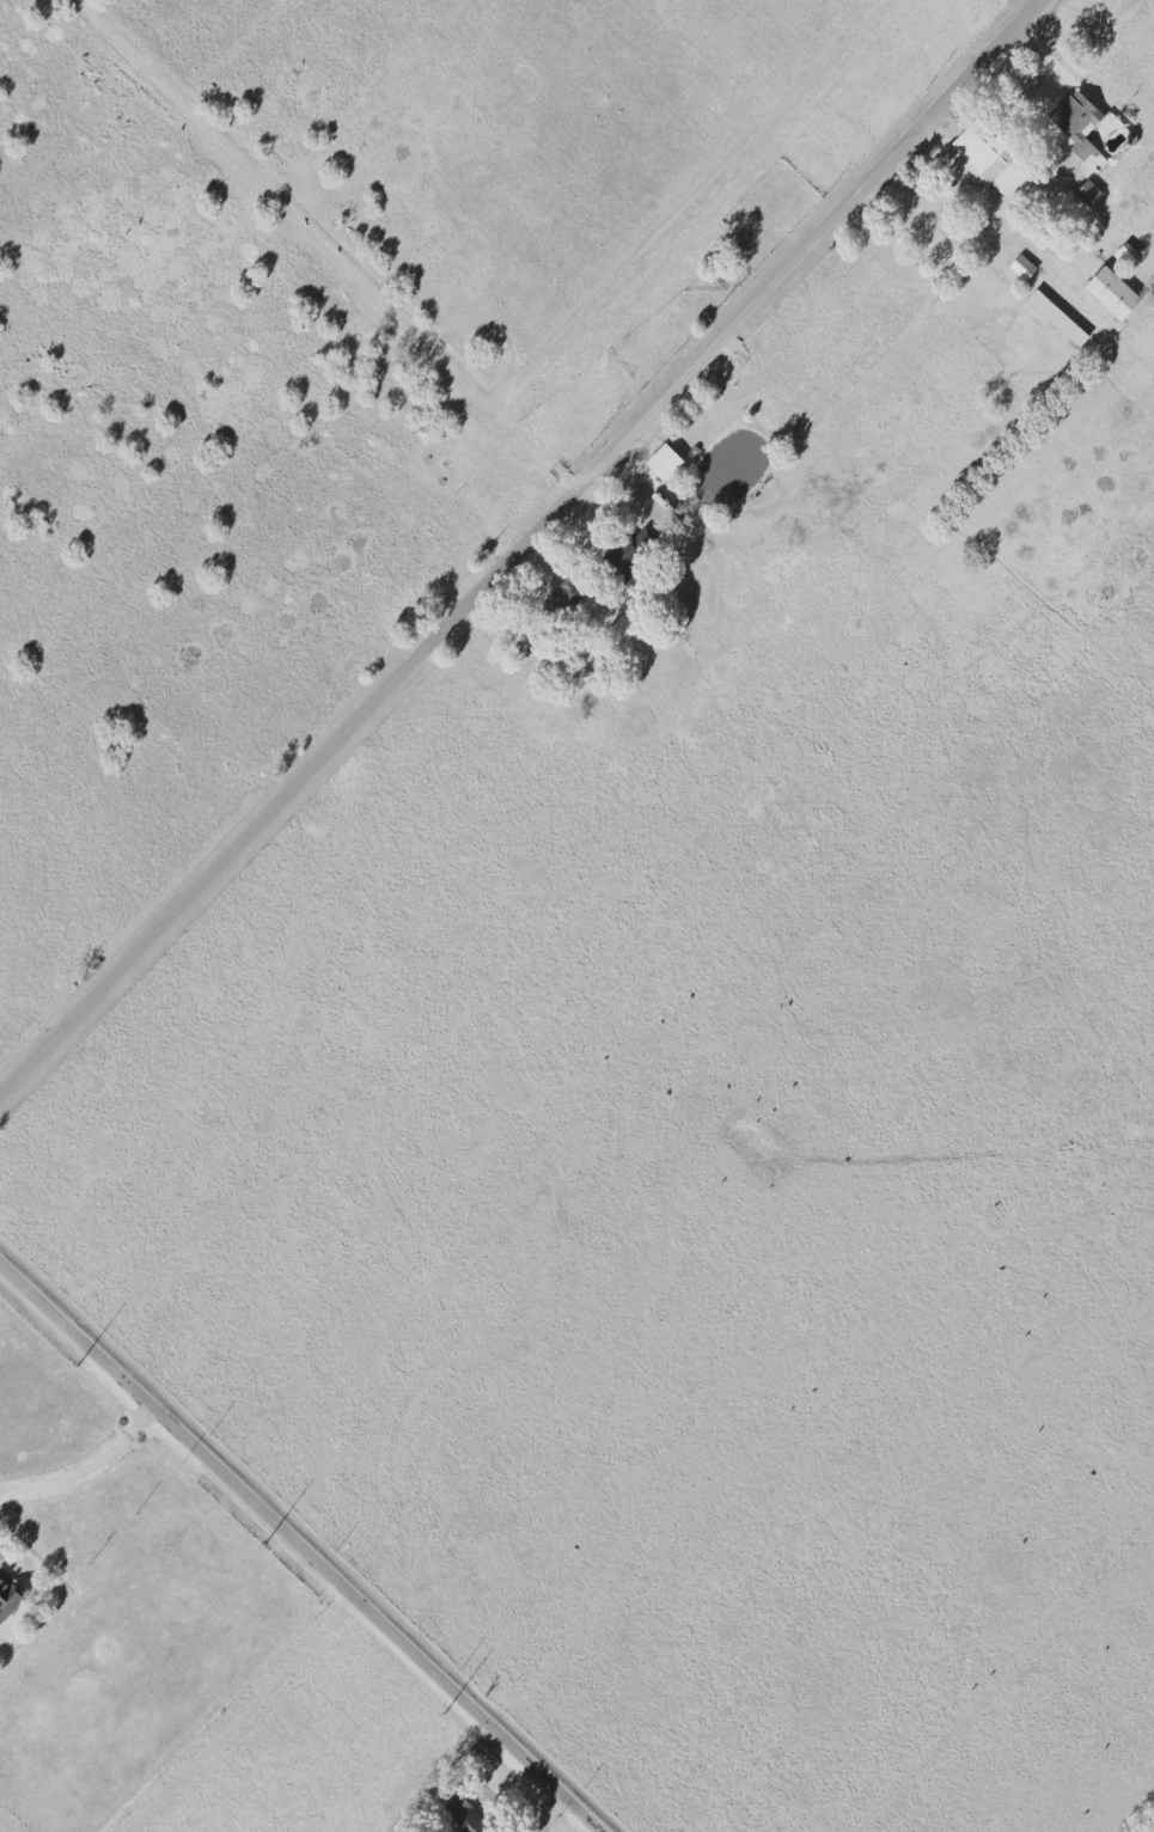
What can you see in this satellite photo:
building: (1087, 152)
building: (988, 161)
building: (1087, 193)
building: (1021, 267)
building: (1111, 293)
building: (1056, 318)
building: (663, 462)
road: (521, 549)
building: (629, 550)
building: (566, 594)
building: (625, 630)
road: (90, 1467)
road: (305, 1541)
road: (251, 1715)
building: (463, 1816)

